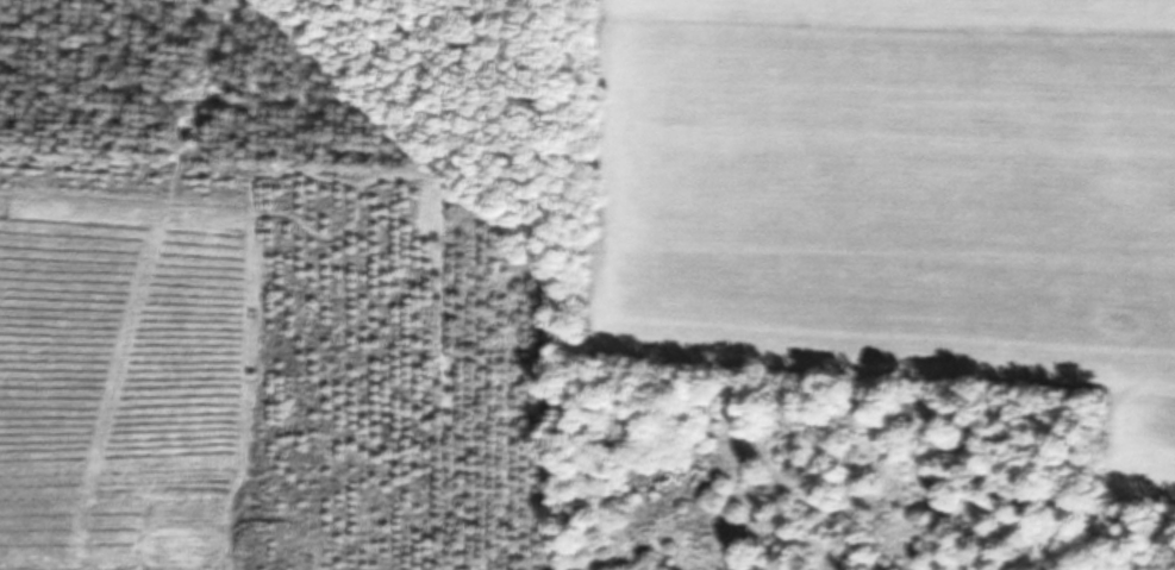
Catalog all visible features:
crop: (883, 253)

